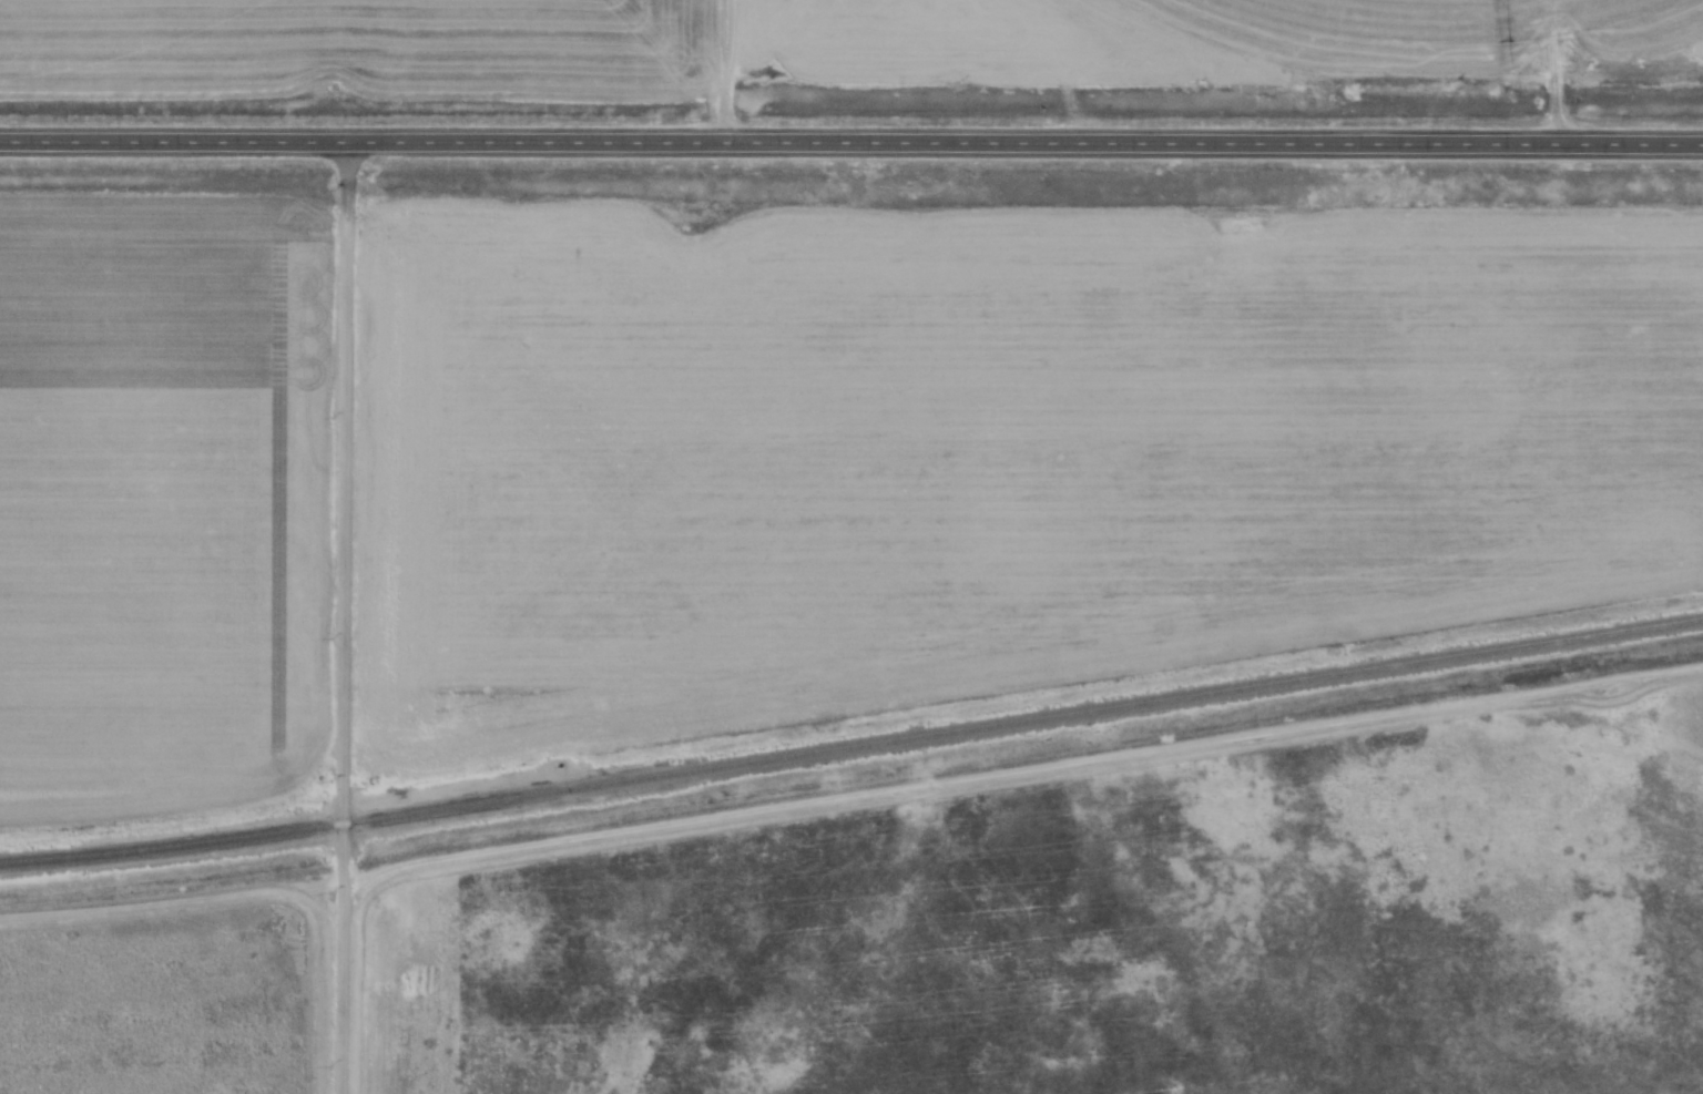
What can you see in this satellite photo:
road: (851, 142)
road: (348, 617)
railway: (851, 748)

